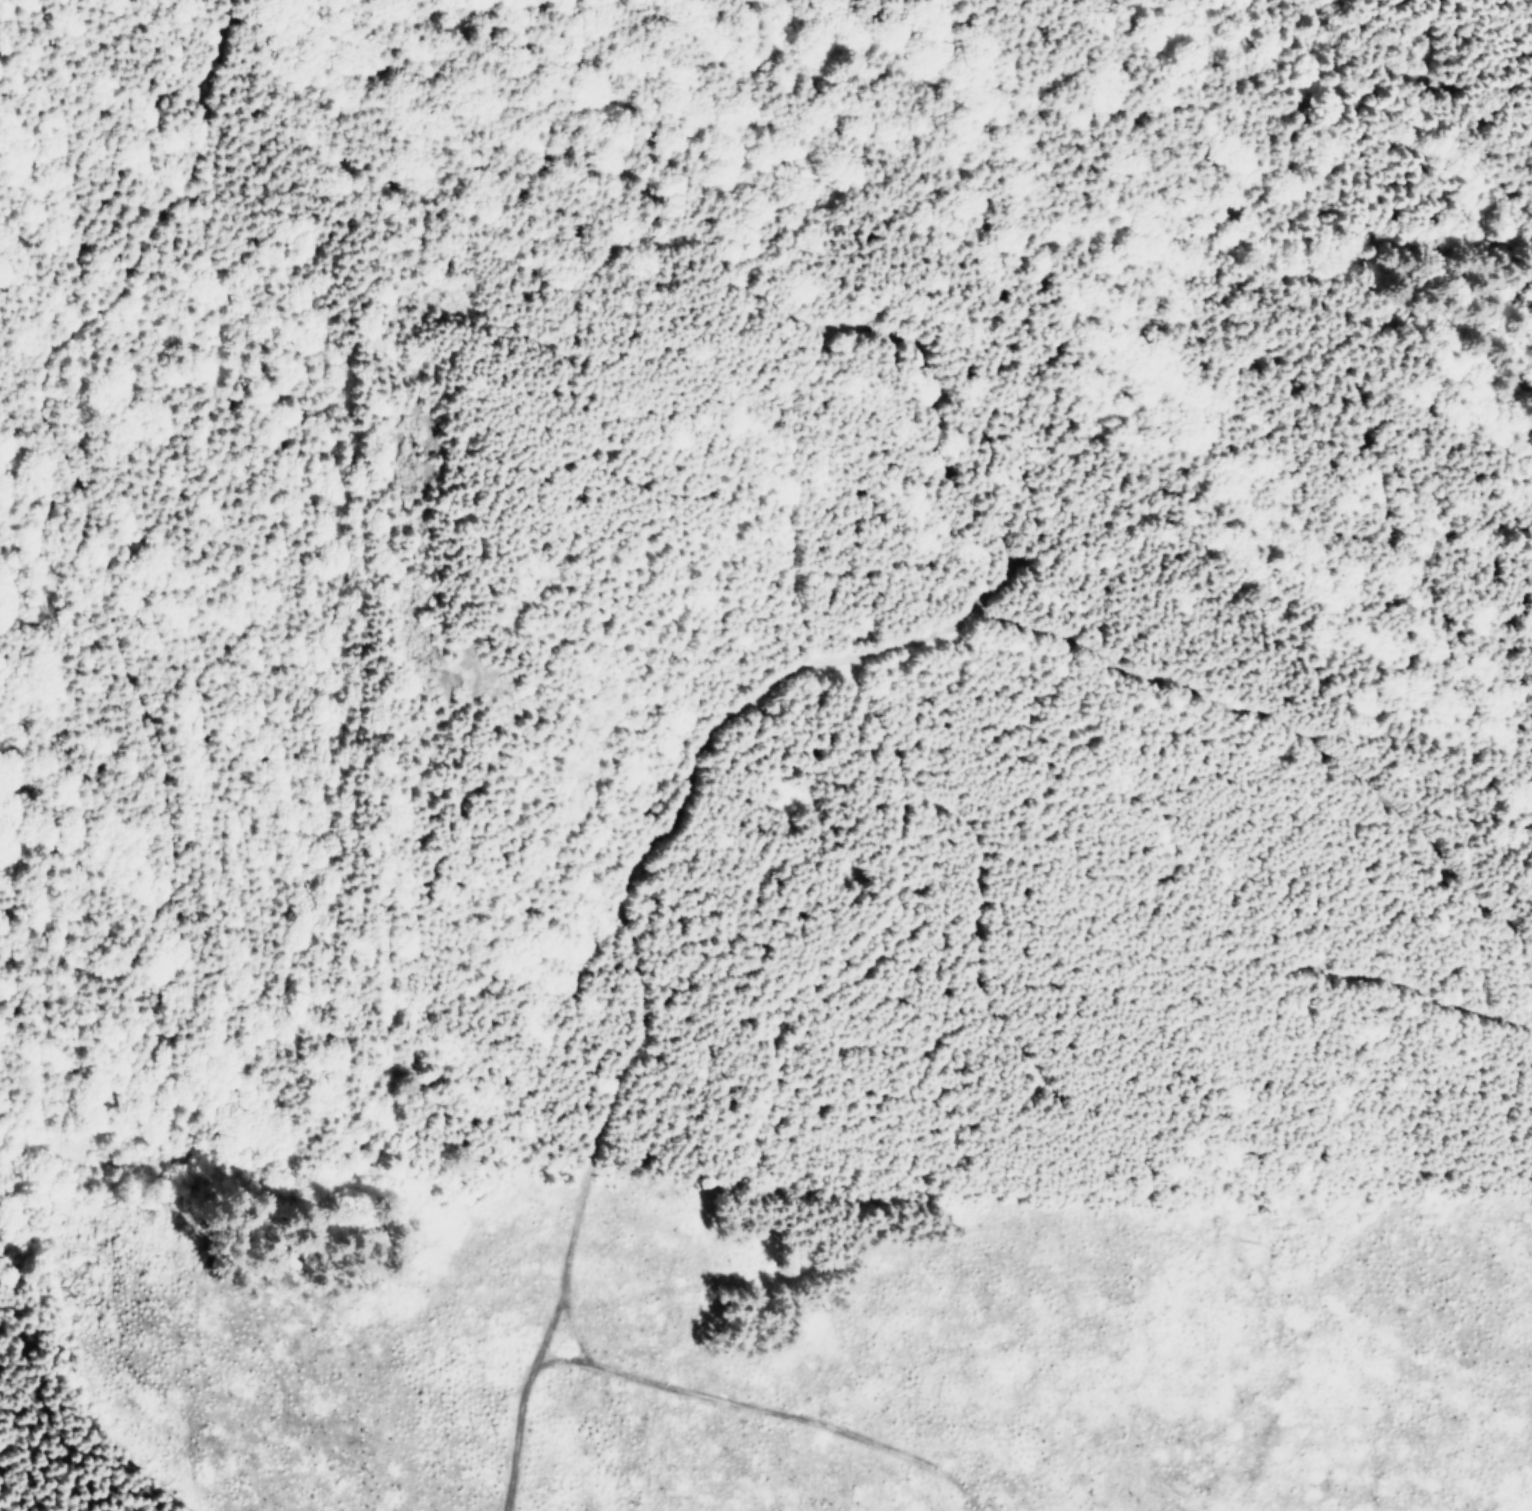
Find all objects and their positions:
road: (803, 1409)

